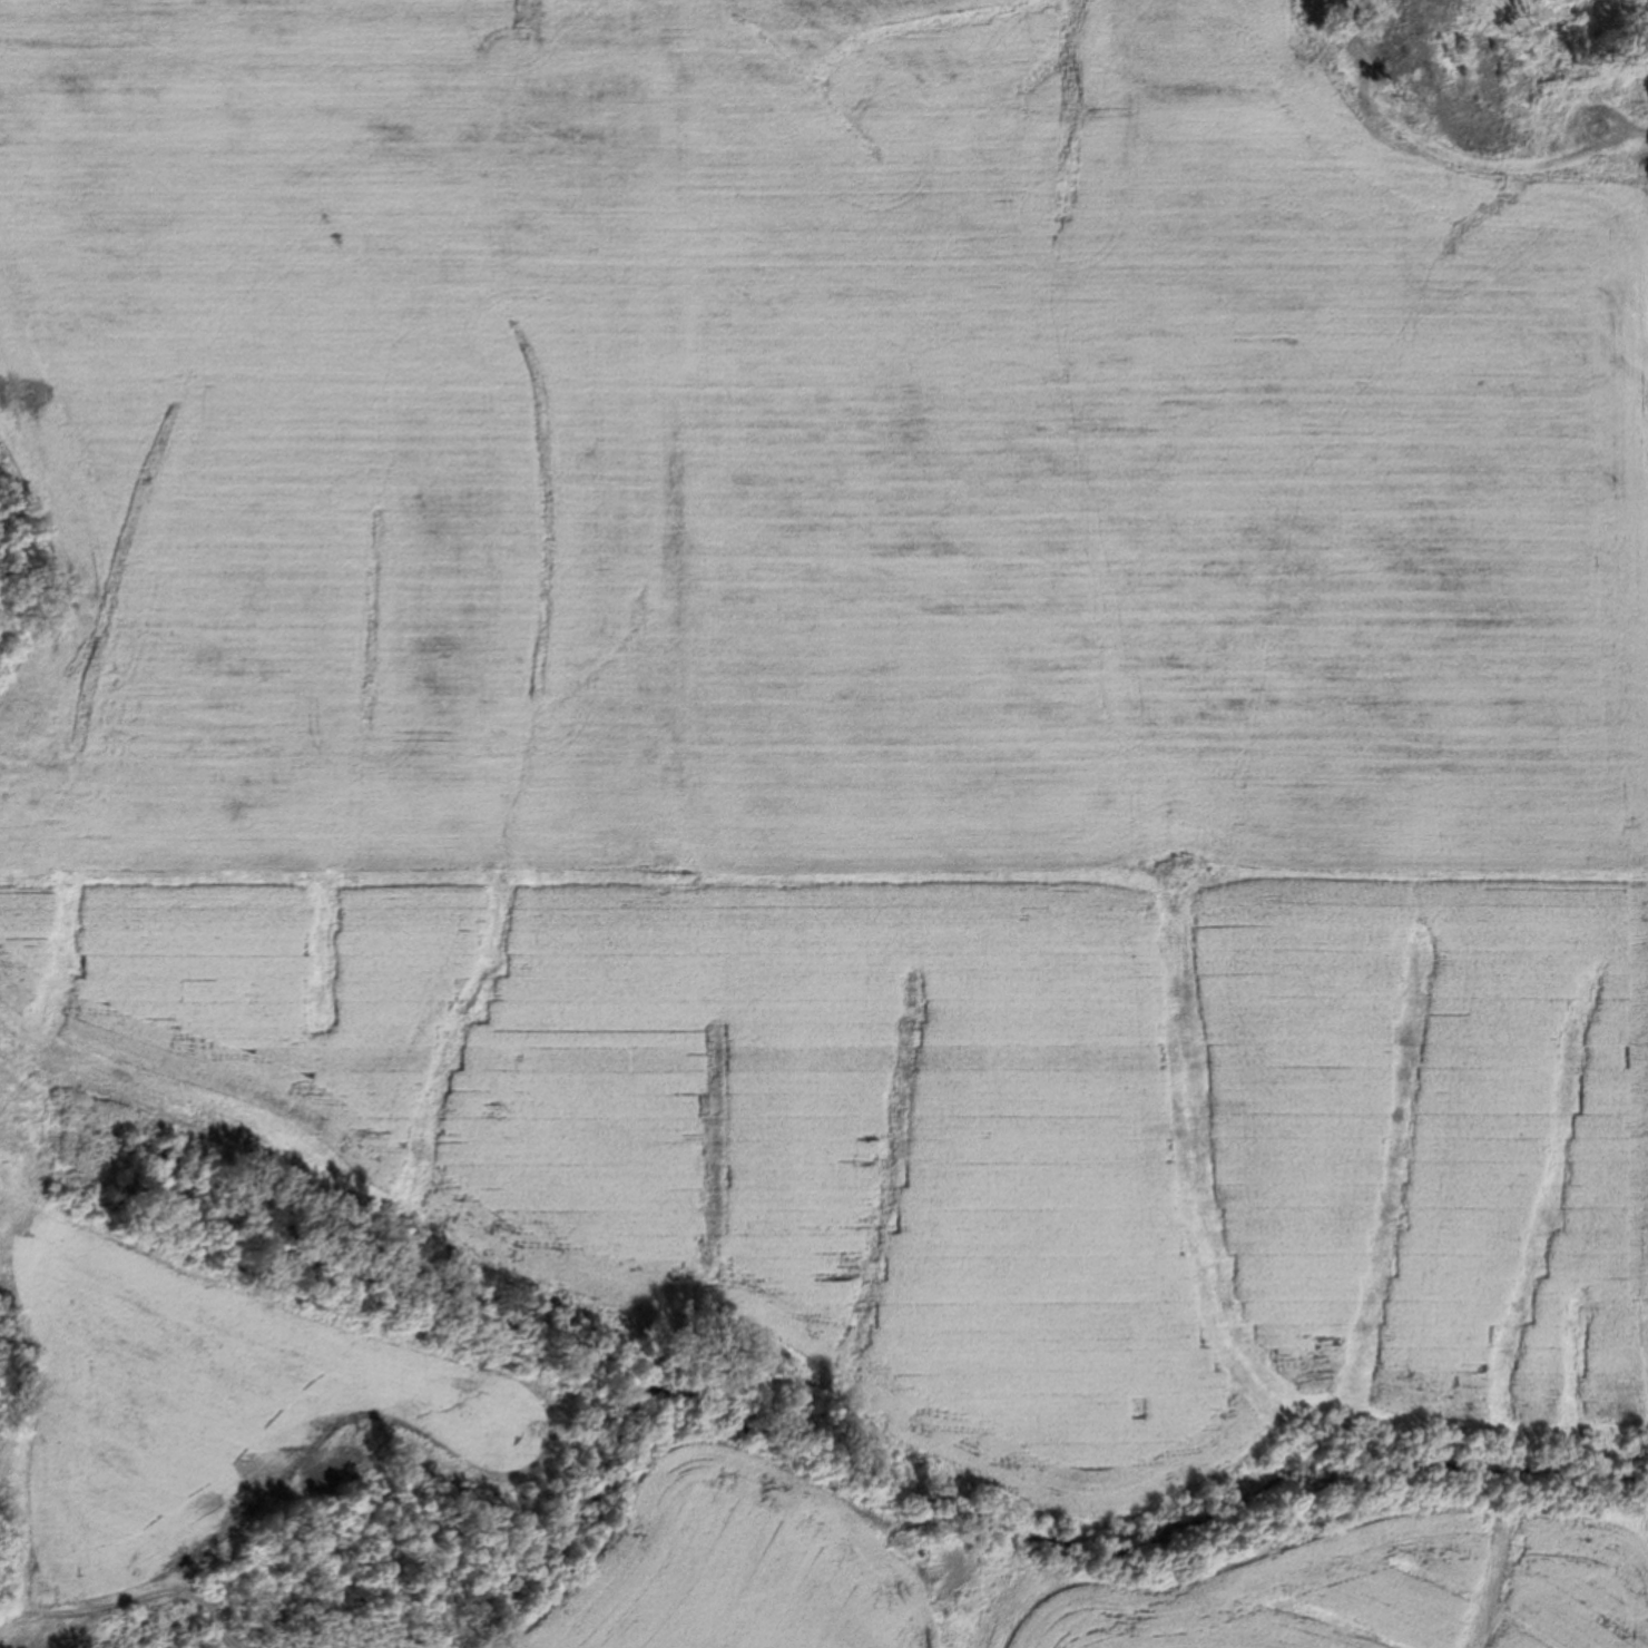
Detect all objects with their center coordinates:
road: (18, 1631)
road: (111, 1642)

